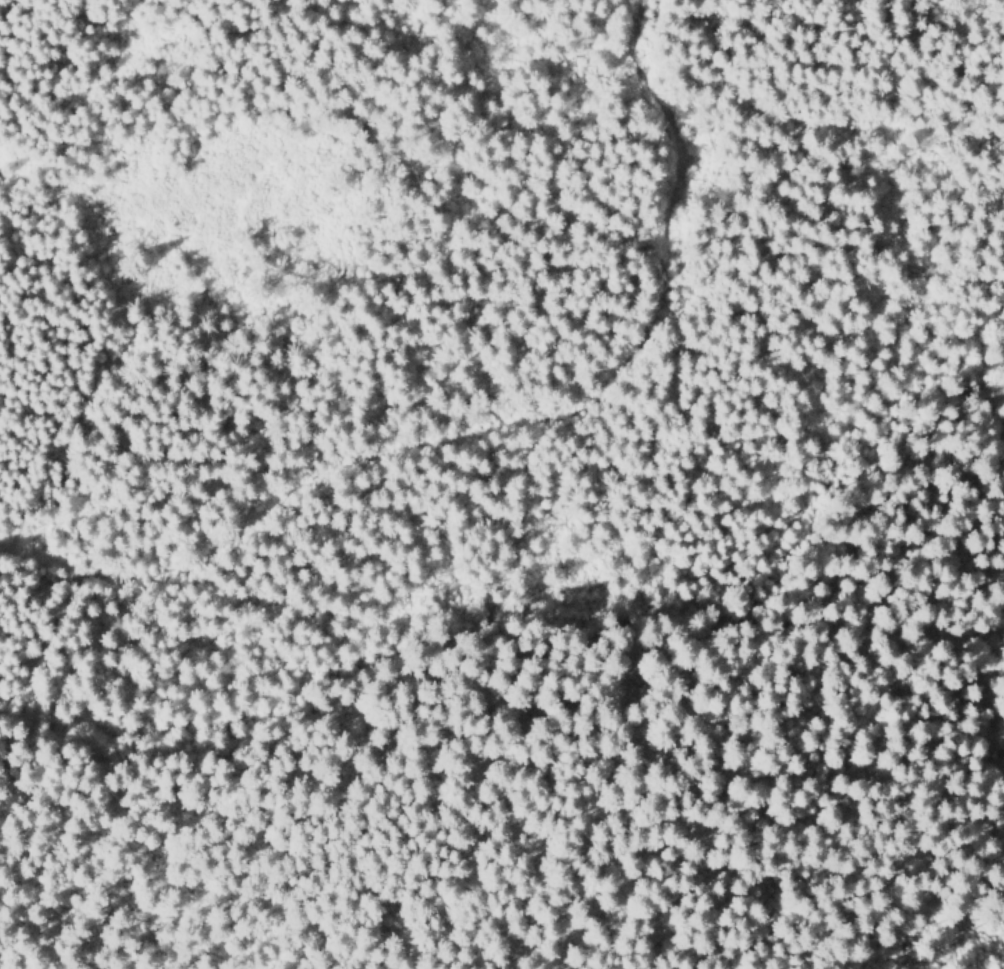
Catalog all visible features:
road: (497, 427)

